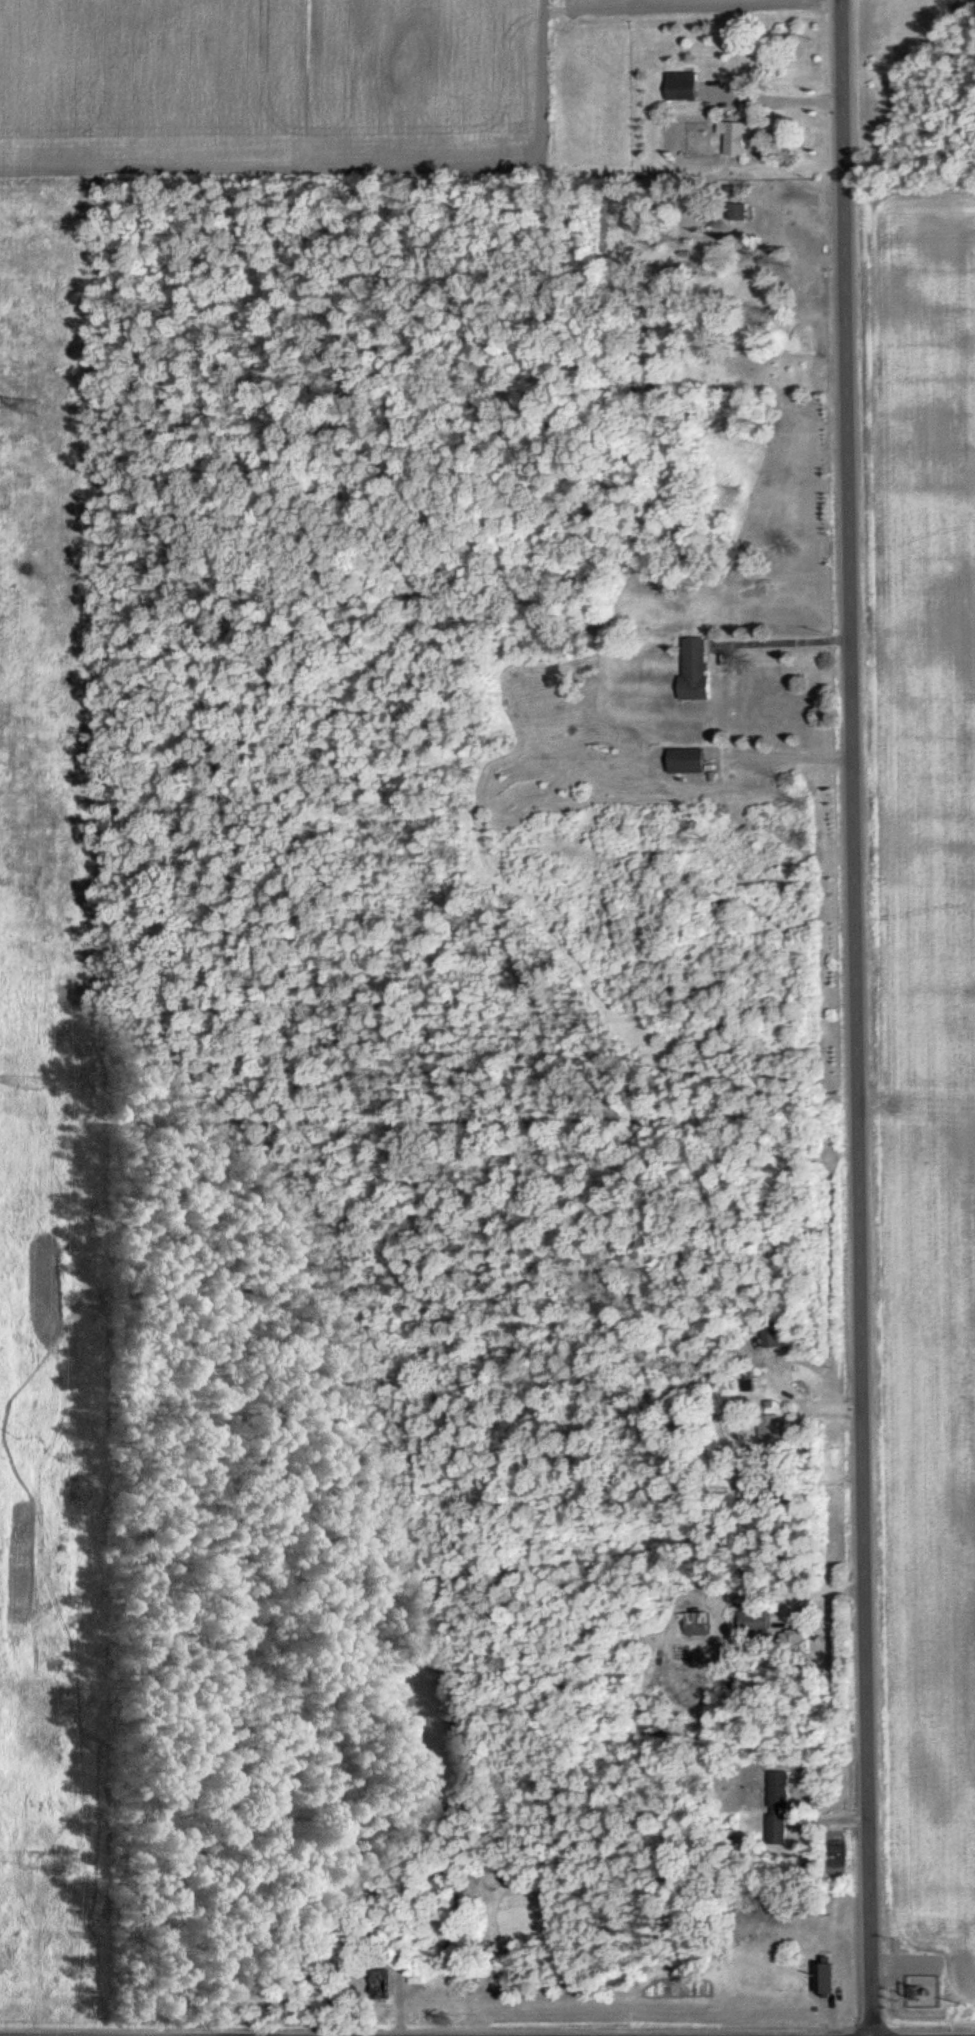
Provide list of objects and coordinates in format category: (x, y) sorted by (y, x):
building: (686, 86)
road: (781, 100)
building: (739, 138)
power tower: (29, 406)
road: (782, 639)
building: (701, 669)
building: (690, 760)
road: (853, 1018)
power tower: (32, 1083)
building: (781, 1338)
building: (775, 1436)
building: (760, 1622)
building: (700, 1624)
building: (784, 1790)
building: (783, 1824)
power tower: (39, 1862)
building: (827, 1975)
power substation: (924, 1994)

